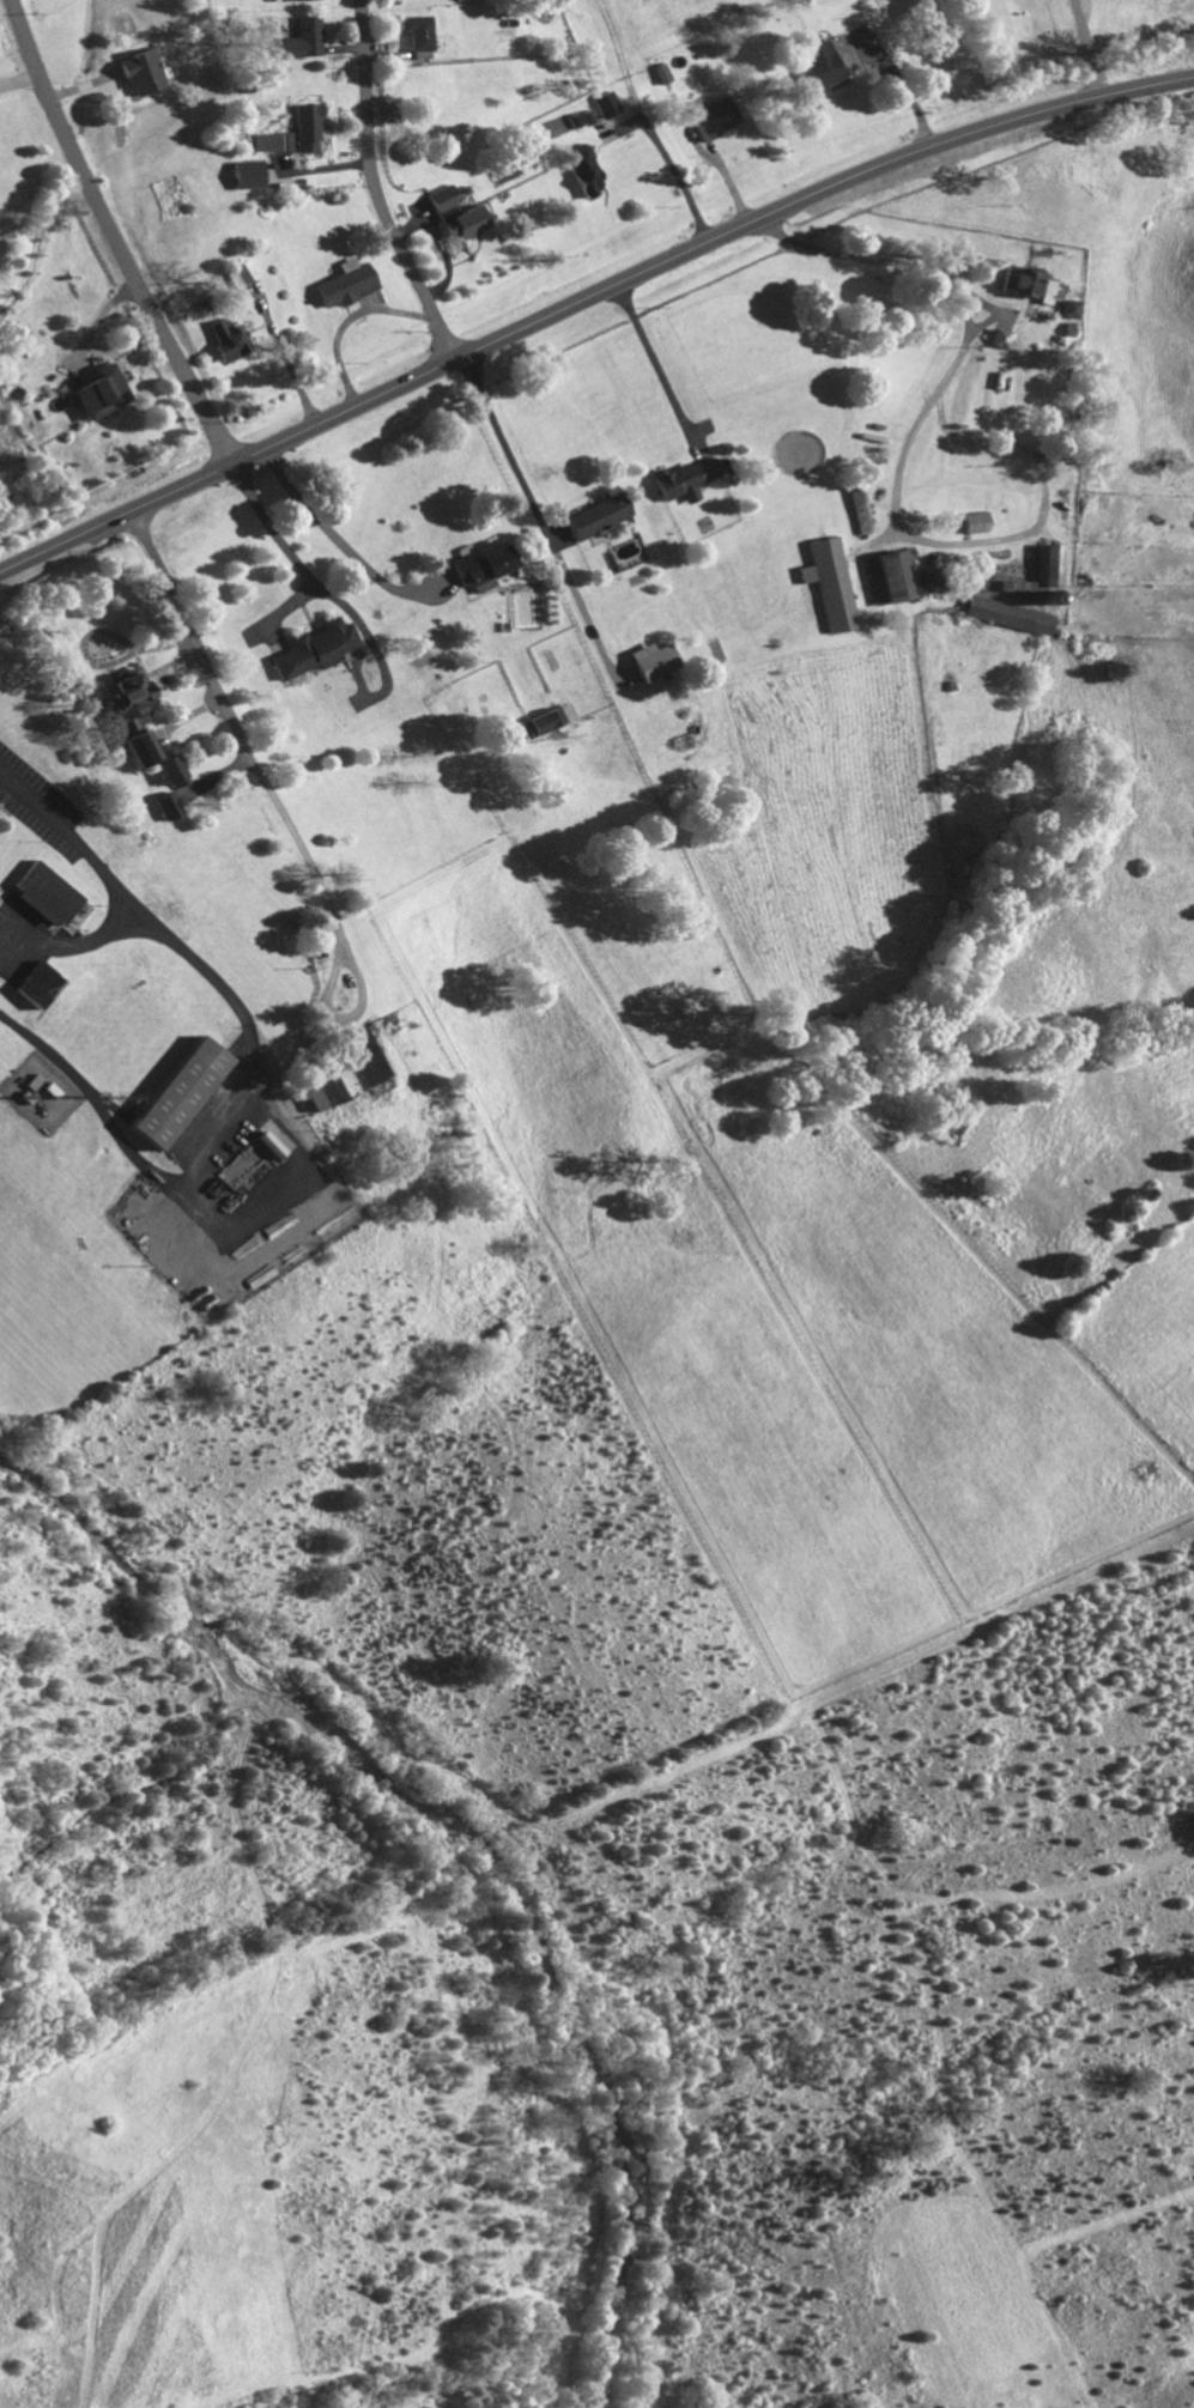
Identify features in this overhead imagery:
building: (298, 0)
building: (414, 31)
building: (303, 38)
building: (817, 65)
building: (141, 69)
building: (662, 72)
building: (608, 102)
building: (713, 117)
building: (305, 126)
building: (272, 140)
building: (586, 171)
building: (247, 172)
road: (380, 187)
building: (443, 196)
building: (461, 220)
road: (113, 235)
building: (242, 272)
building: (346, 283)
building: (1024, 283)
road: (587, 299)
building: (1066, 307)
building: (226, 336)
building: (998, 336)
road: (954, 360)
building: (98, 392)
road: (508, 439)
building: (685, 478)
building: (859, 509)
building: (595, 515)
building: (974, 521)
road: (332, 532)
road: (290, 548)
building: (1050, 563)
building: (480, 564)
building: (886, 576)
building: (828, 582)
building: (1007, 613)
building: (313, 647)
building: (650, 660)
building: (120, 698)
road: (231, 714)
building: (545, 718)
building: (138, 746)
building: (166, 769)
building: (166, 803)
road: (117, 884)
building: (44, 893)
building: (36, 984)
road: (354, 1009)
building: (344, 1070)
building: (177, 1092)
building: (269, 1139)

